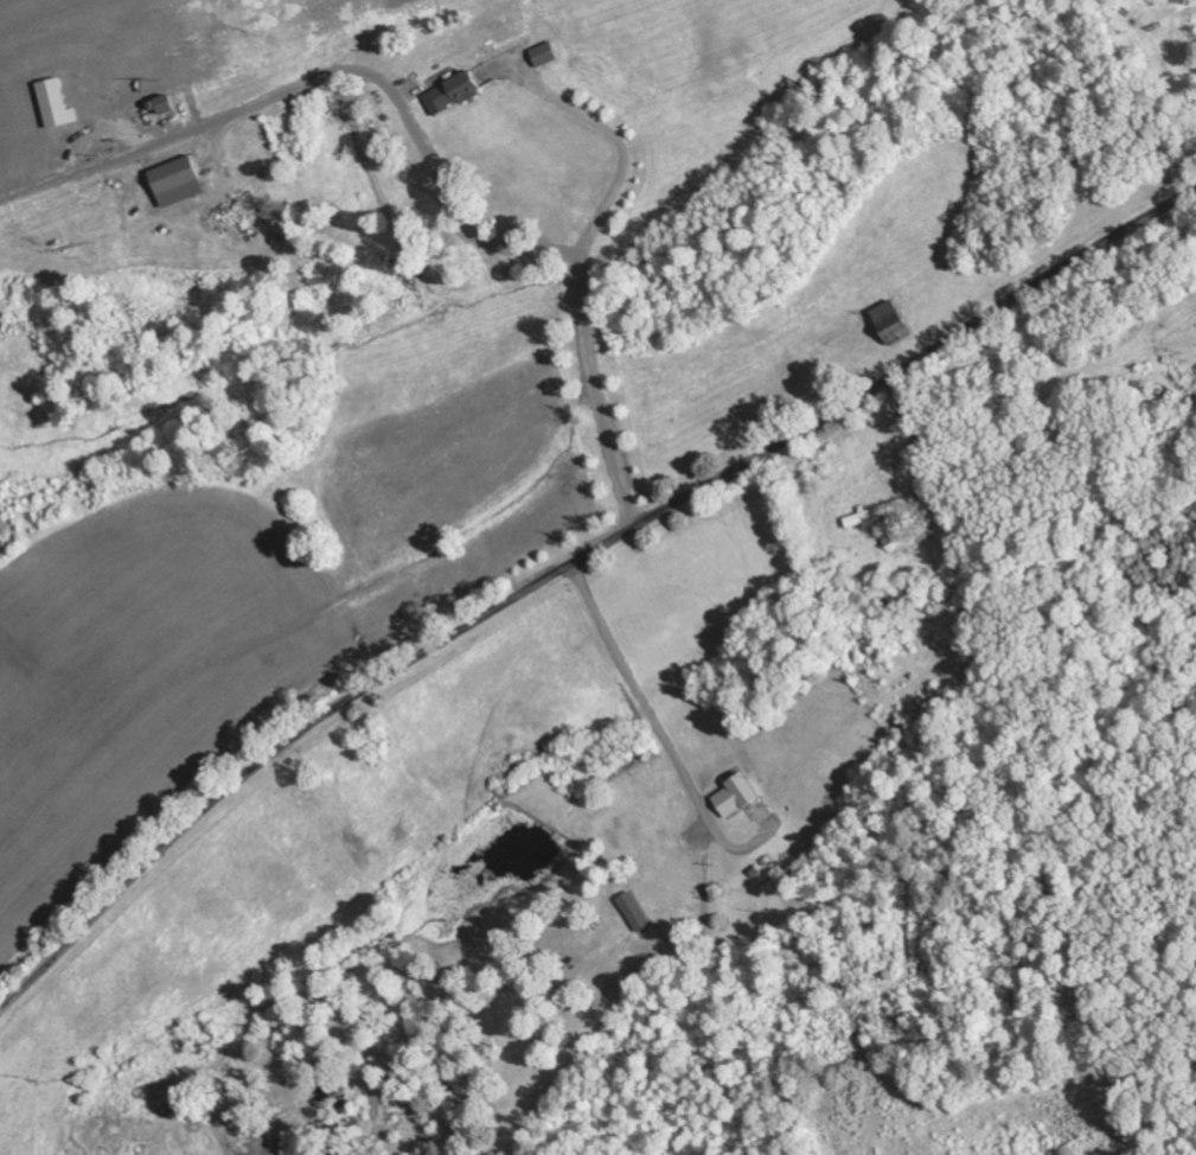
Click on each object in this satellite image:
building: (544, 56)
building: (453, 94)
building: (56, 104)
building: (166, 106)
building: (179, 183)
building: (891, 324)
building: (874, 515)
building: (889, 534)
road: (575, 574)
building: (736, 797)
building: (635, 913)

